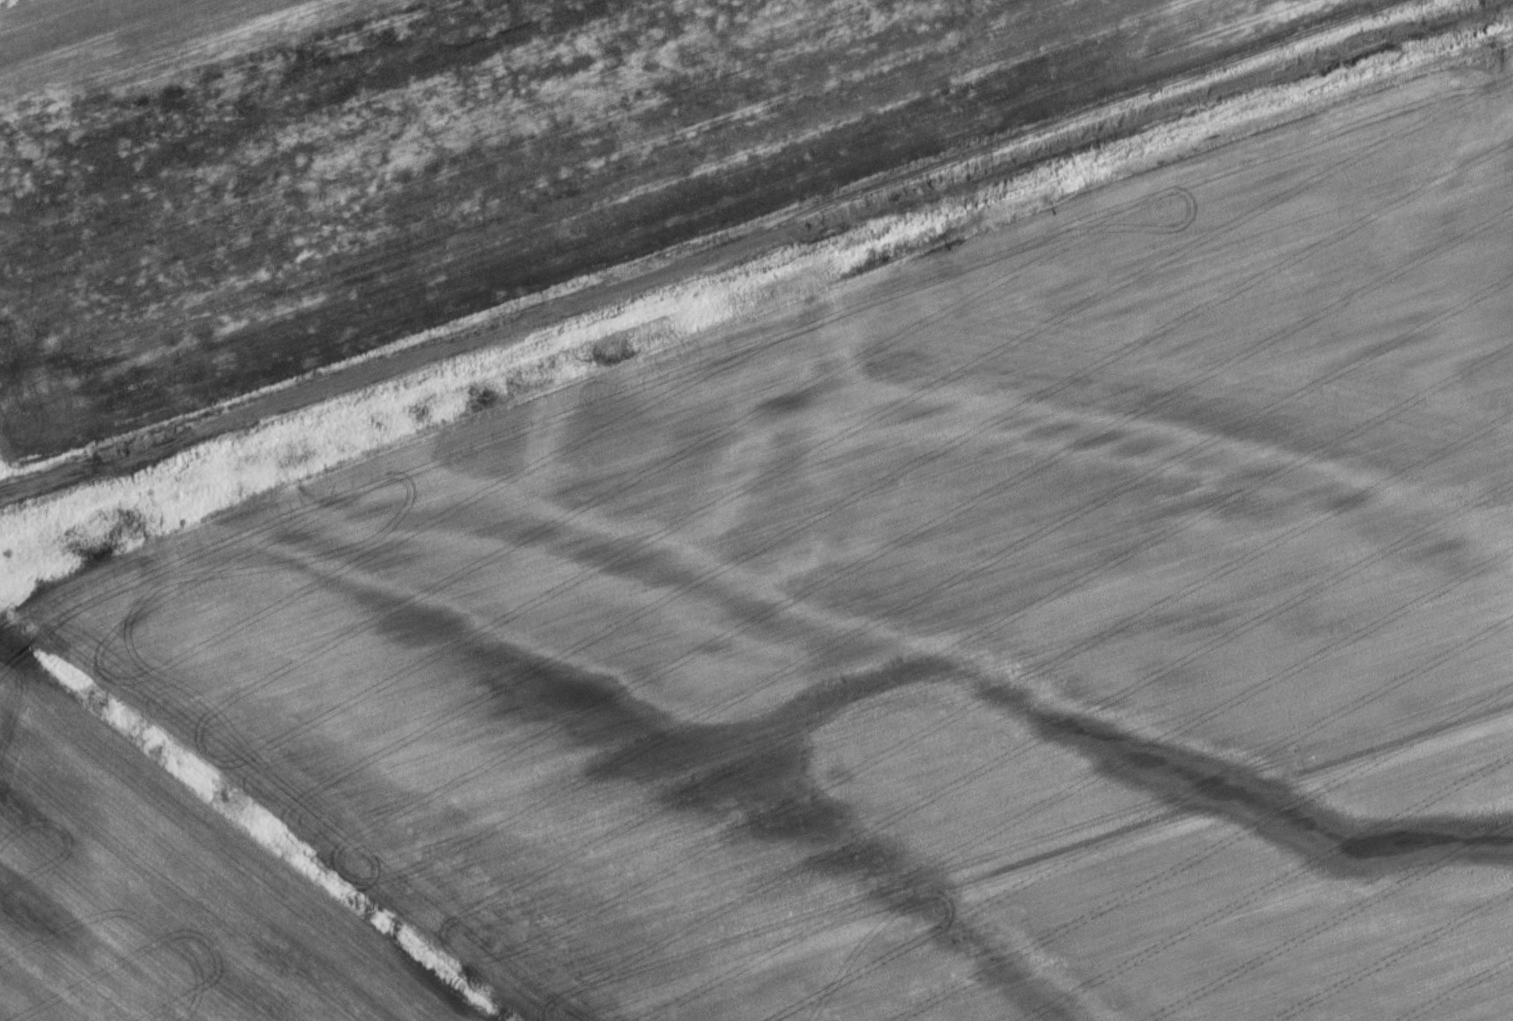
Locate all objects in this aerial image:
road: (739, 247)

